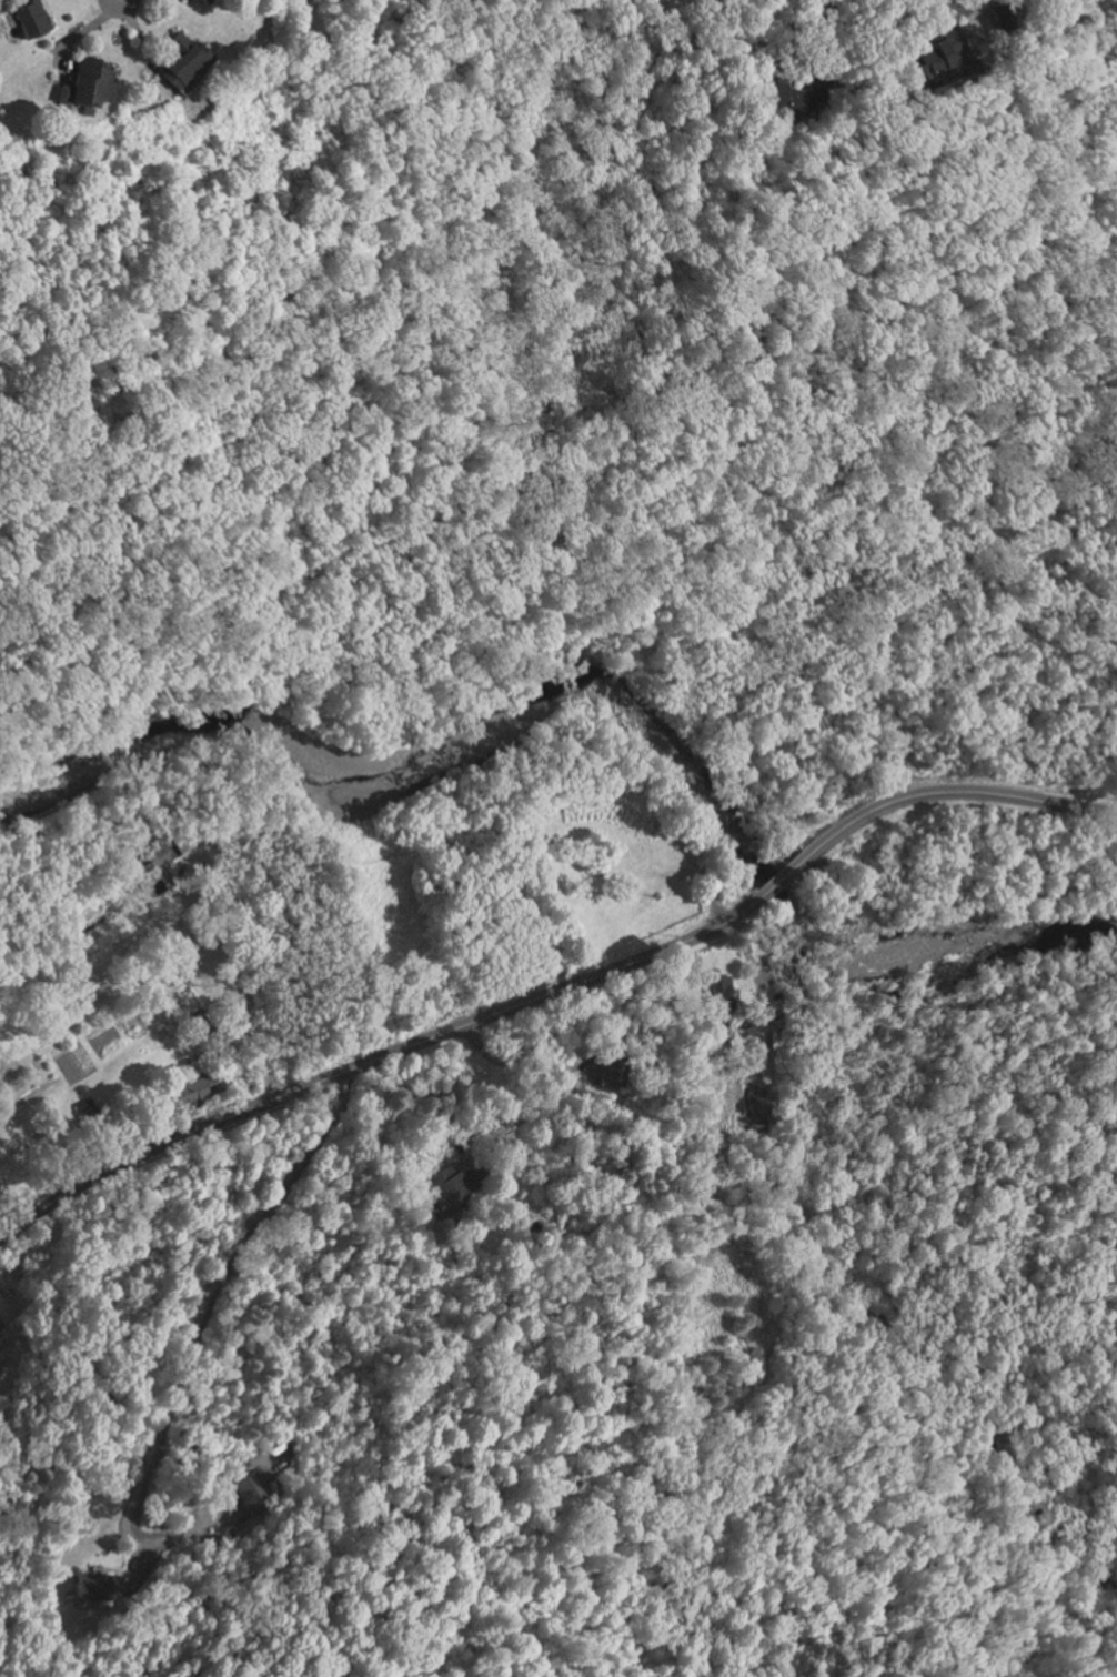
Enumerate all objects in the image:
road: (119, 0)
building: (198, 0)
building: (454, 1)
road: (966, 11)
building: (999, 18)
building: (29, 19)
road: (816, 28)
building: (939, 53)
building: (180, 62)
building: (85, 86)
building: (793, 100)
building: (153, 865)
road: (218, 987)
road: (558, 990)
road: (761, 992)
building: (608, 1067)
road: (565, 1070)
building: (195, 1087)
building: (445, 1189)
road: (209, 1283)
building: (251, 1493)
building: (93, 1587)

